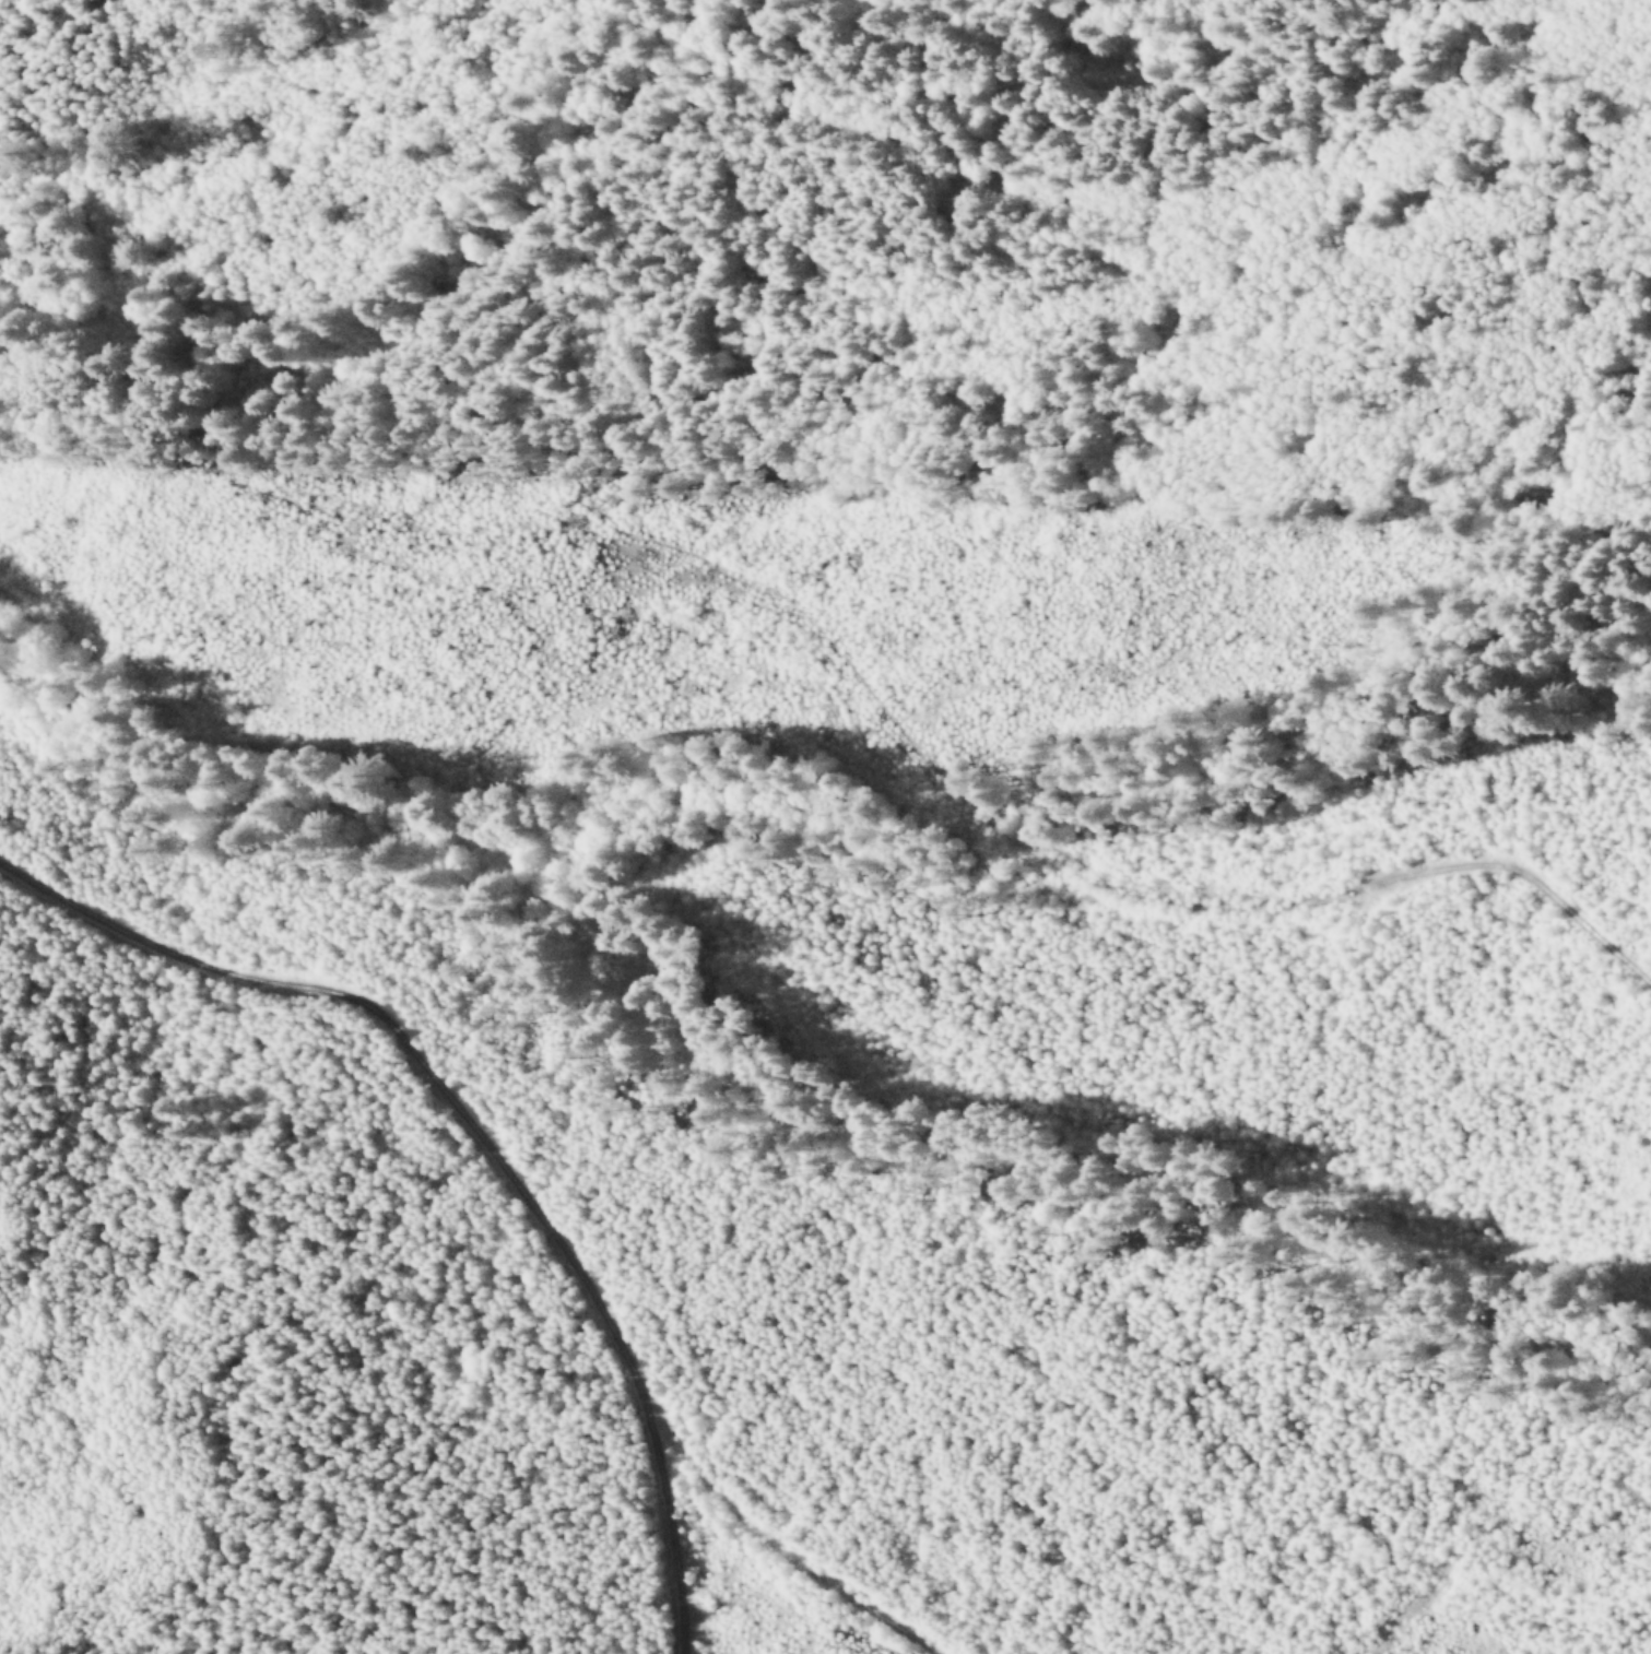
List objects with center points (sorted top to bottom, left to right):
road: (258, 147)
road: (1151, 205)
road: (43, 637)
road: (23, 713)
road: (500, 1137)

